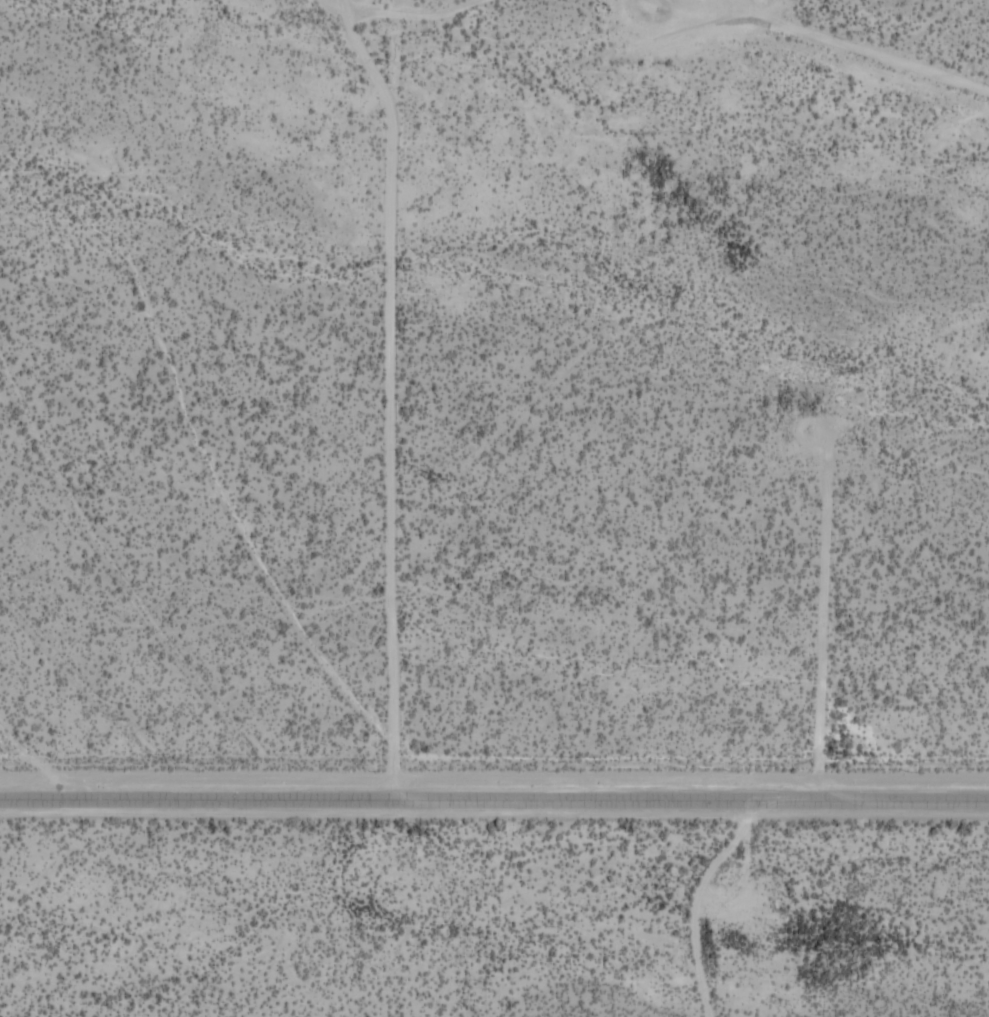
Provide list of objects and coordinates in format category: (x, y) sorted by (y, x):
building: (419, 649)
building: (442, 684)
road: (494, 802)

